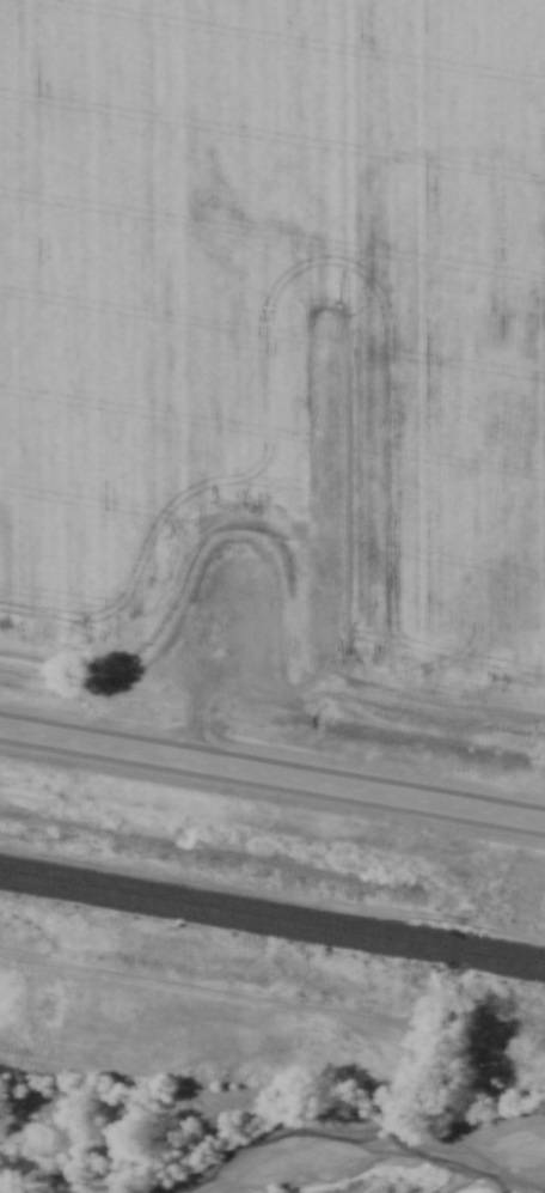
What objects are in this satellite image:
road: (271, 775)
railway: (272, 912)
railway: (272, 923)

